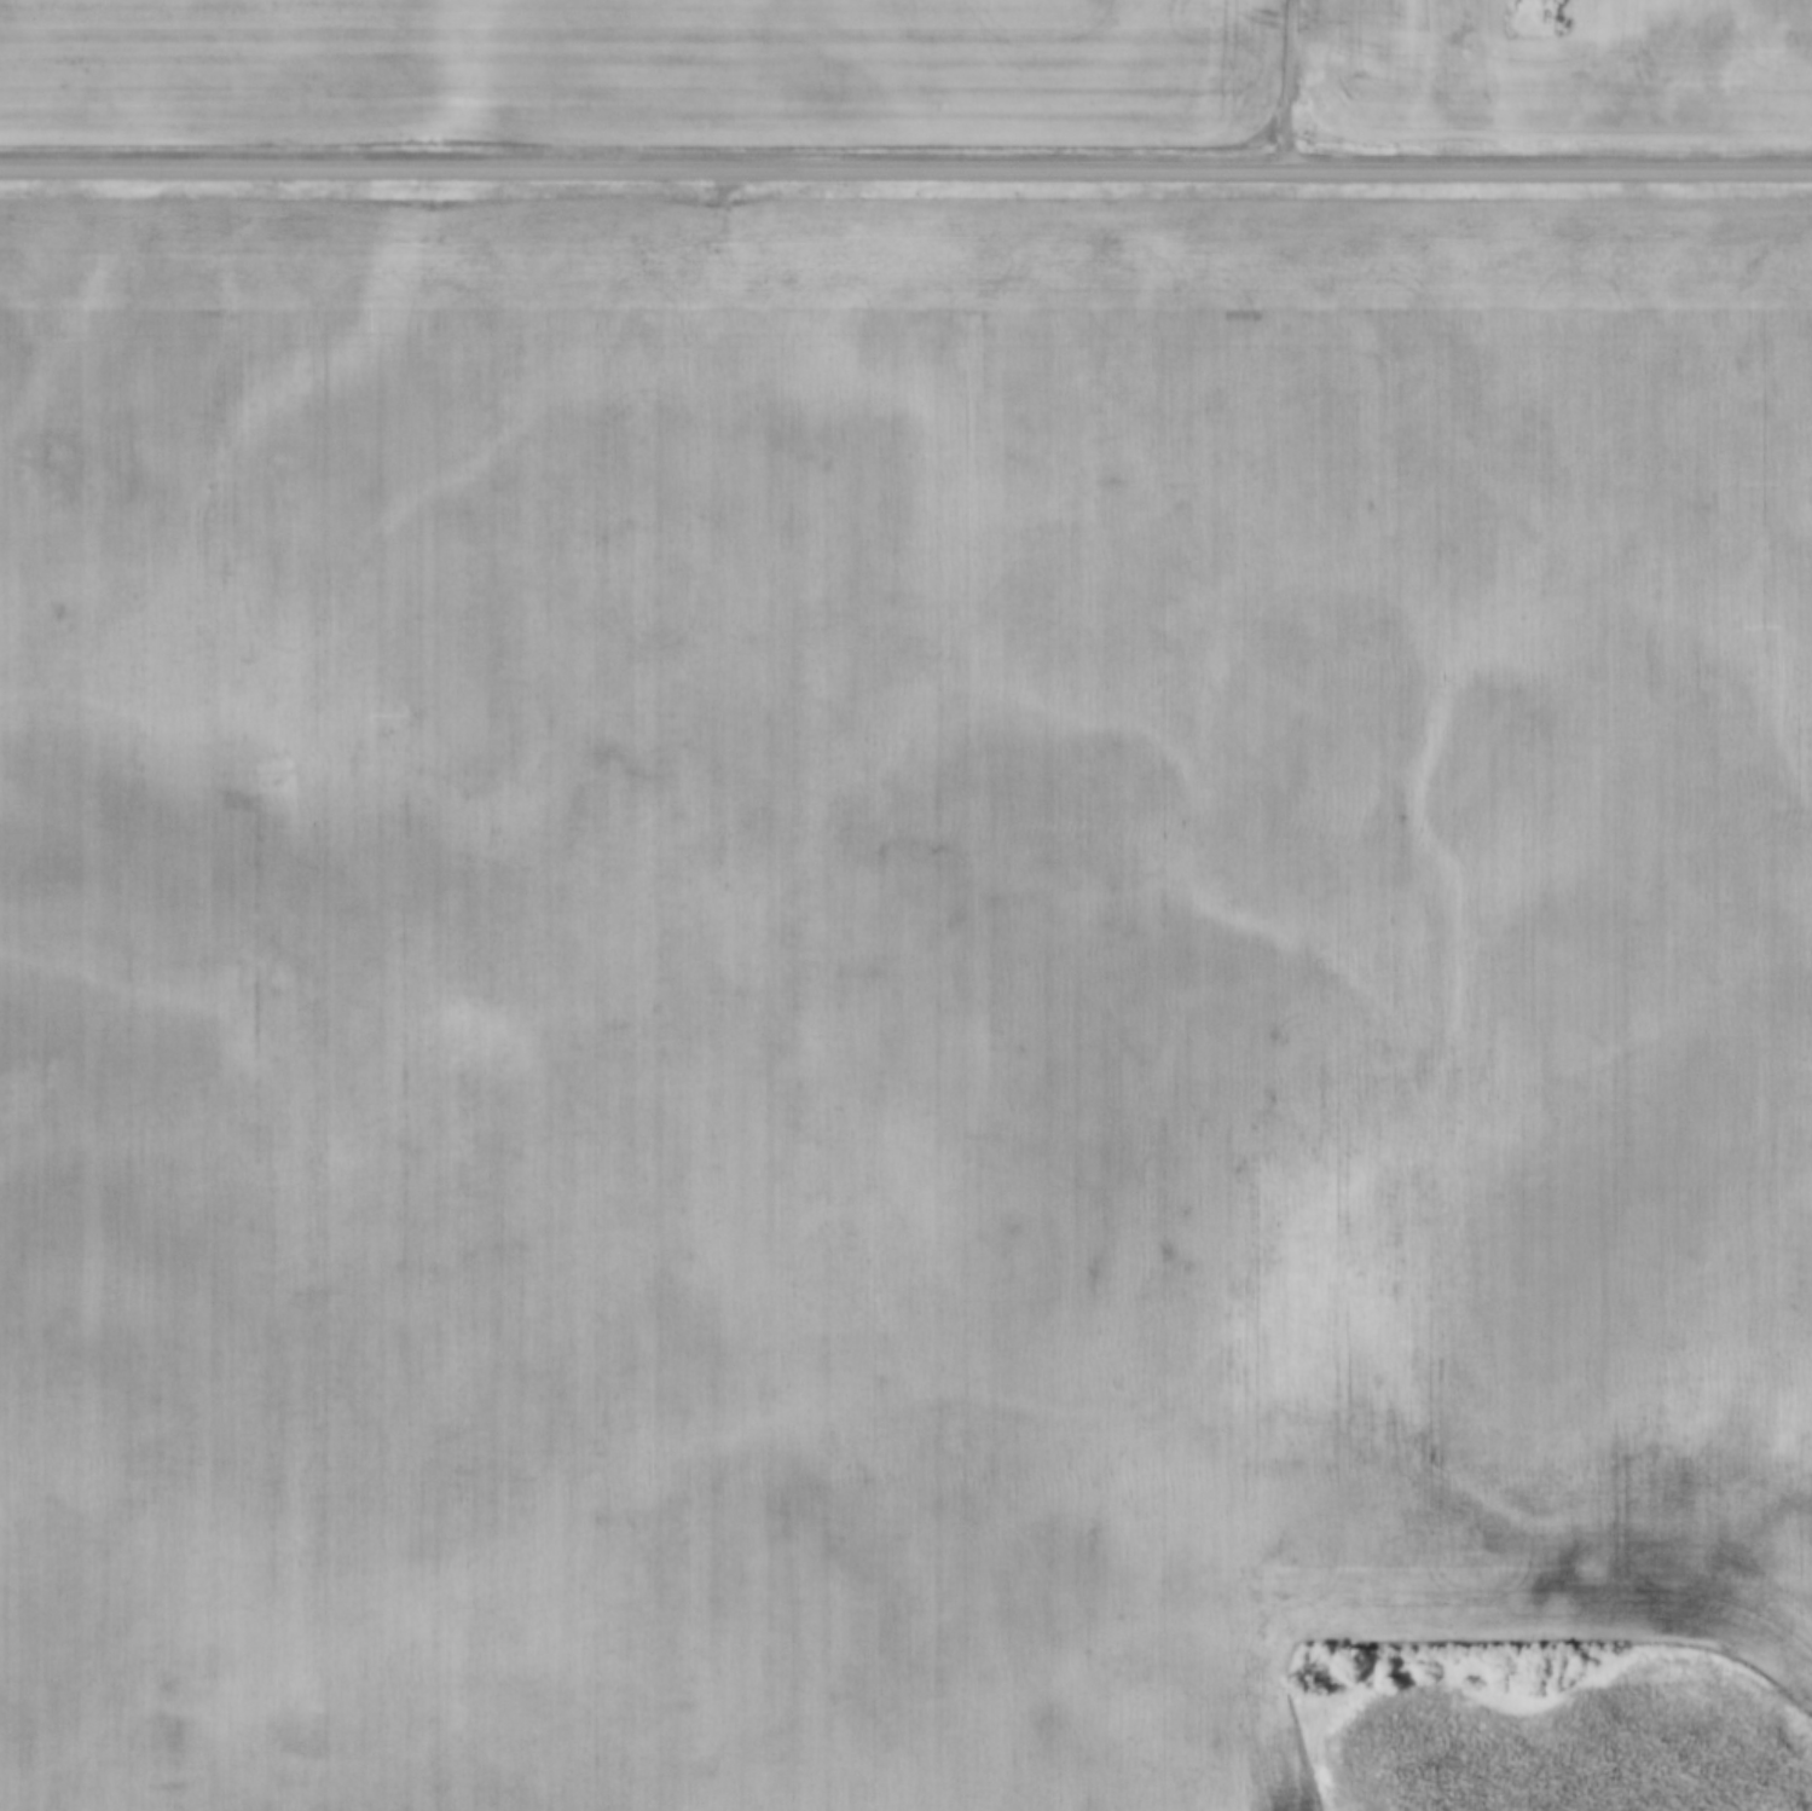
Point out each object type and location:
road: (905, 162)

